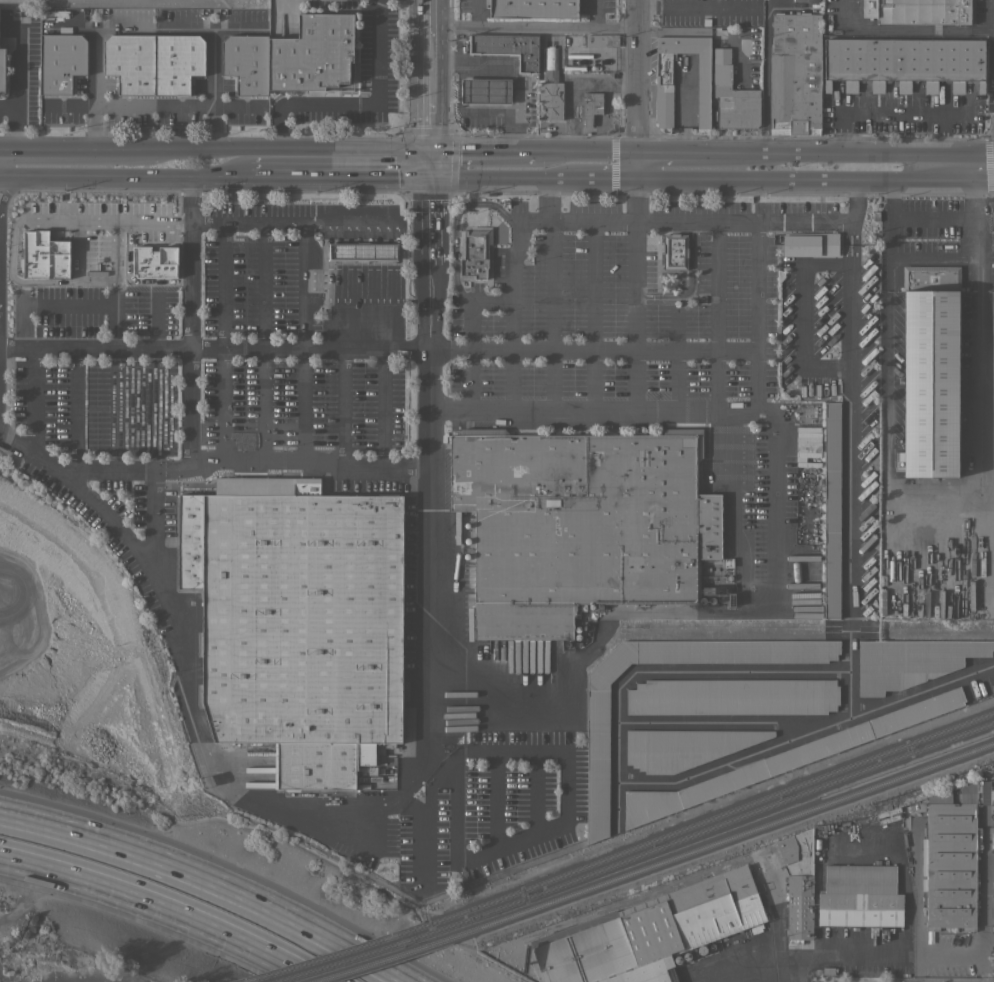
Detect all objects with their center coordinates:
building: (806, 0)
road: (699, 5)
building: (533, 8)
building: (918, 11)
road: (476, 12)
road: (190, 21)
road: (537, 25)
road: (908, 30)
building: (601, 40)
building: (488, 44)
building: (524, 52)
building: (313, 53)
road: (212, 59)
building: (540, 60)
building: (61, 61)
road: (93, 61)
building: (131, 62)
building: (177, 62)
building: (904, 62)
building: (247, 63)
building: (2, 70)
building: (795, 73)
road: (516, 79)
building: (665, 79)
road: (433, 82)
road: (766, 82)
road: (639, 83)
gas station: (490, 88)
building: (550, 89)
building: (486, 91)
gas station: (486, 91)
road: (569, 94)
building: (733, 96)
road: (68, 106)
road: (178, 106)
road: (362, 106)
building: (591, 106)
road: (892, 113)
road: (12, 119)
road: (2, 147)
road: (70, 147)
road: (276, 147)
road: (2, 158)
road: (422, 163)
traffic signals: (433, 164)
road: (484, 164)
road: (540, 165)
road: (558, 165)
road: (604, 165)
road: (694, 166)
road: (803, 167)
road: (891, 167)
road: (960, 168)
road: (207, 173)
road: (191, 198)
building: (992, 215)
road: (933, 217)
road: (563, 219)
road: (697, 219)
building: (810, 244)
road: (74, 246)
road: (12, 250)
road: (115, 251)
building: (362, 251)
building: (675, 251)
gas station: (361, 252)
building: (474, 252)
building: (45, 253)
road: (933, 257)
building: (153, 262)
road: (756, 272)
road: (130, 280)
road: (715, 286)
road: (302, 287)
road: (511, 298)
road: (47, 306)
road: (551, 314)
road: (590, 315)
road: (803, 315)
road: (155, 322)
road: (468, 332)
road: (190, 342)
road: (222, 342)
road: (263, 343)
road: (214, 348)
road: (624, 351)
building: (930, 370)
road: (33, 399)
road: (342, 406)
road: (382, 406)
road: (75, 409)
road: (115, 409)
road: (155, 409)
road: (561, 410)
road: (851, 414)
road: (774, 438)
road: (430, 446)
building: (806, 446)
road: (266, 463)
road: (386, 464)
road: (90, 471)
road: (937, 492)
building: (832, 509)
road: (113, 523)
building: (581, 524)
road: (154, 529)
building: (984, 586)
building: (302, 621)
building: (911, 661)
building: (733, 697)
building: (684, 747)
building: (598, 760)
building: (784, 760)
road: (567, 783)
road: (536, 792)
road: (240, 796)
railway: (711, 819)
road: (427, 829)
railway: (716, 830)
railway: (720, 839)
road: (449, 842)
building: (950, 863)
road: (212, 878)
building: (798, 884)
building: (860, 896)
road: (162, 909)
building: (650, 933)
railway: (339, 952)
road: (949, 952)
road: (836, 953)
railway: (359, 957)
railway: (381, 961)
railway: (246, 981)

